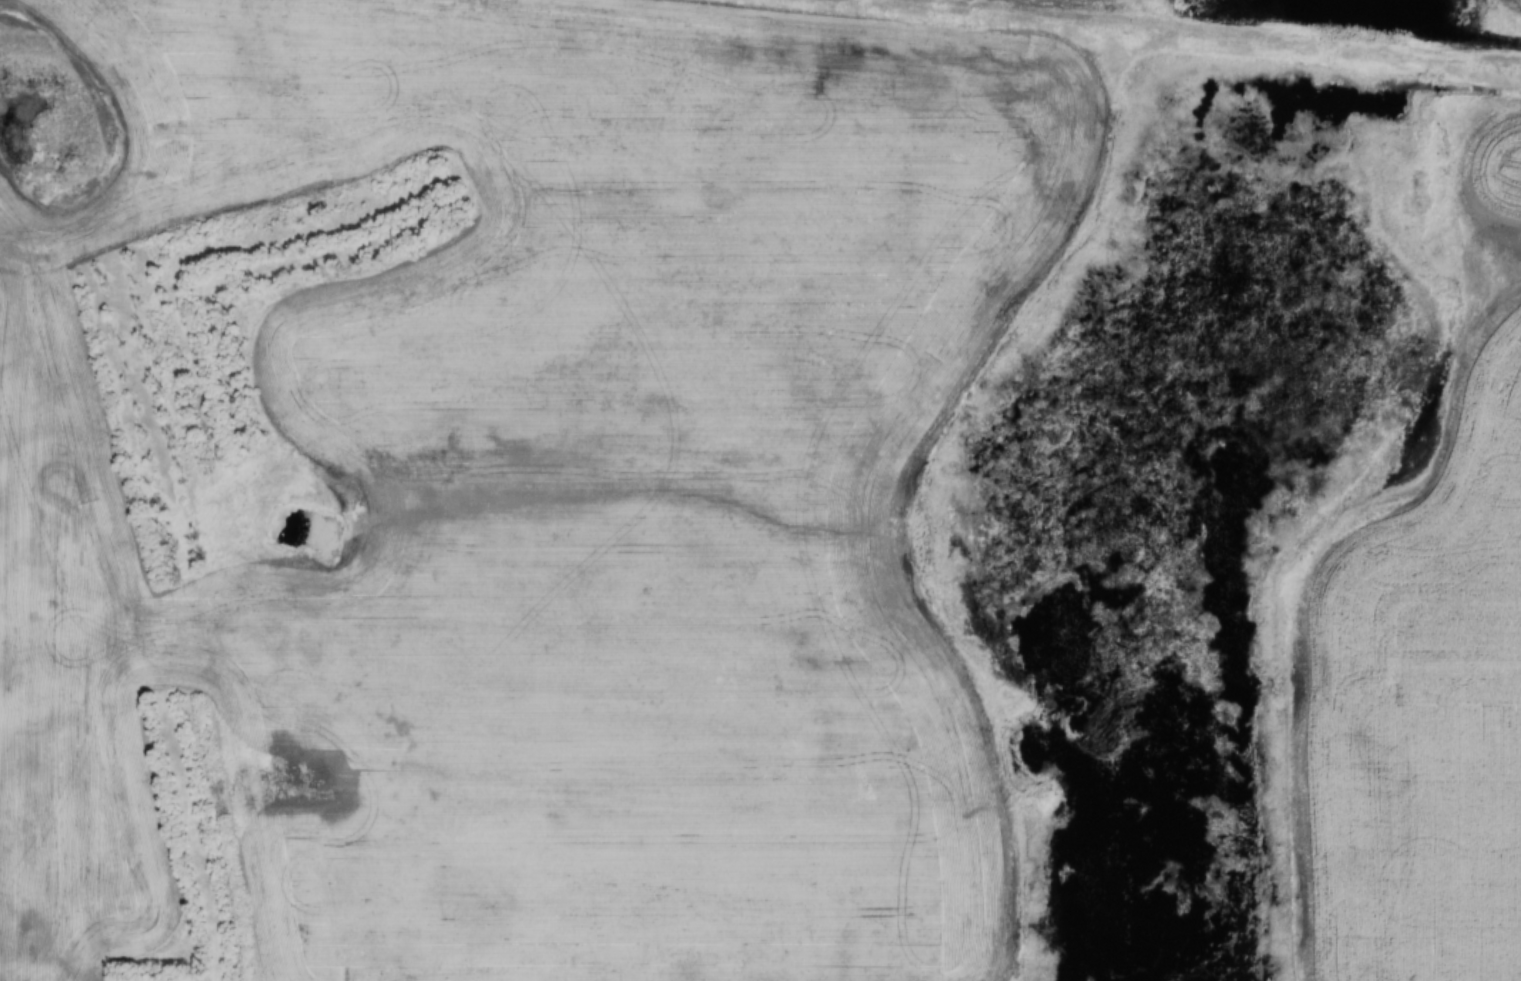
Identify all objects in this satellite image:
railway: (1008, 18)

